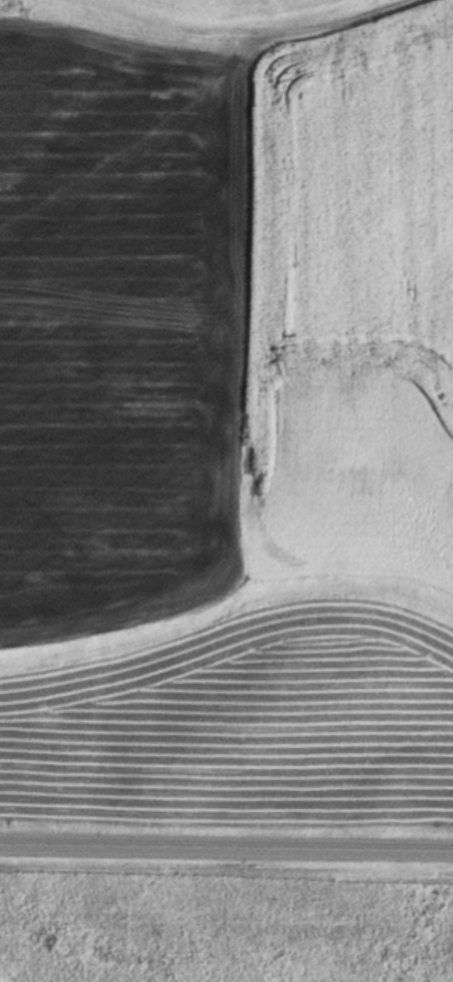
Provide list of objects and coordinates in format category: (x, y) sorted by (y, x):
road: (226, 840)

